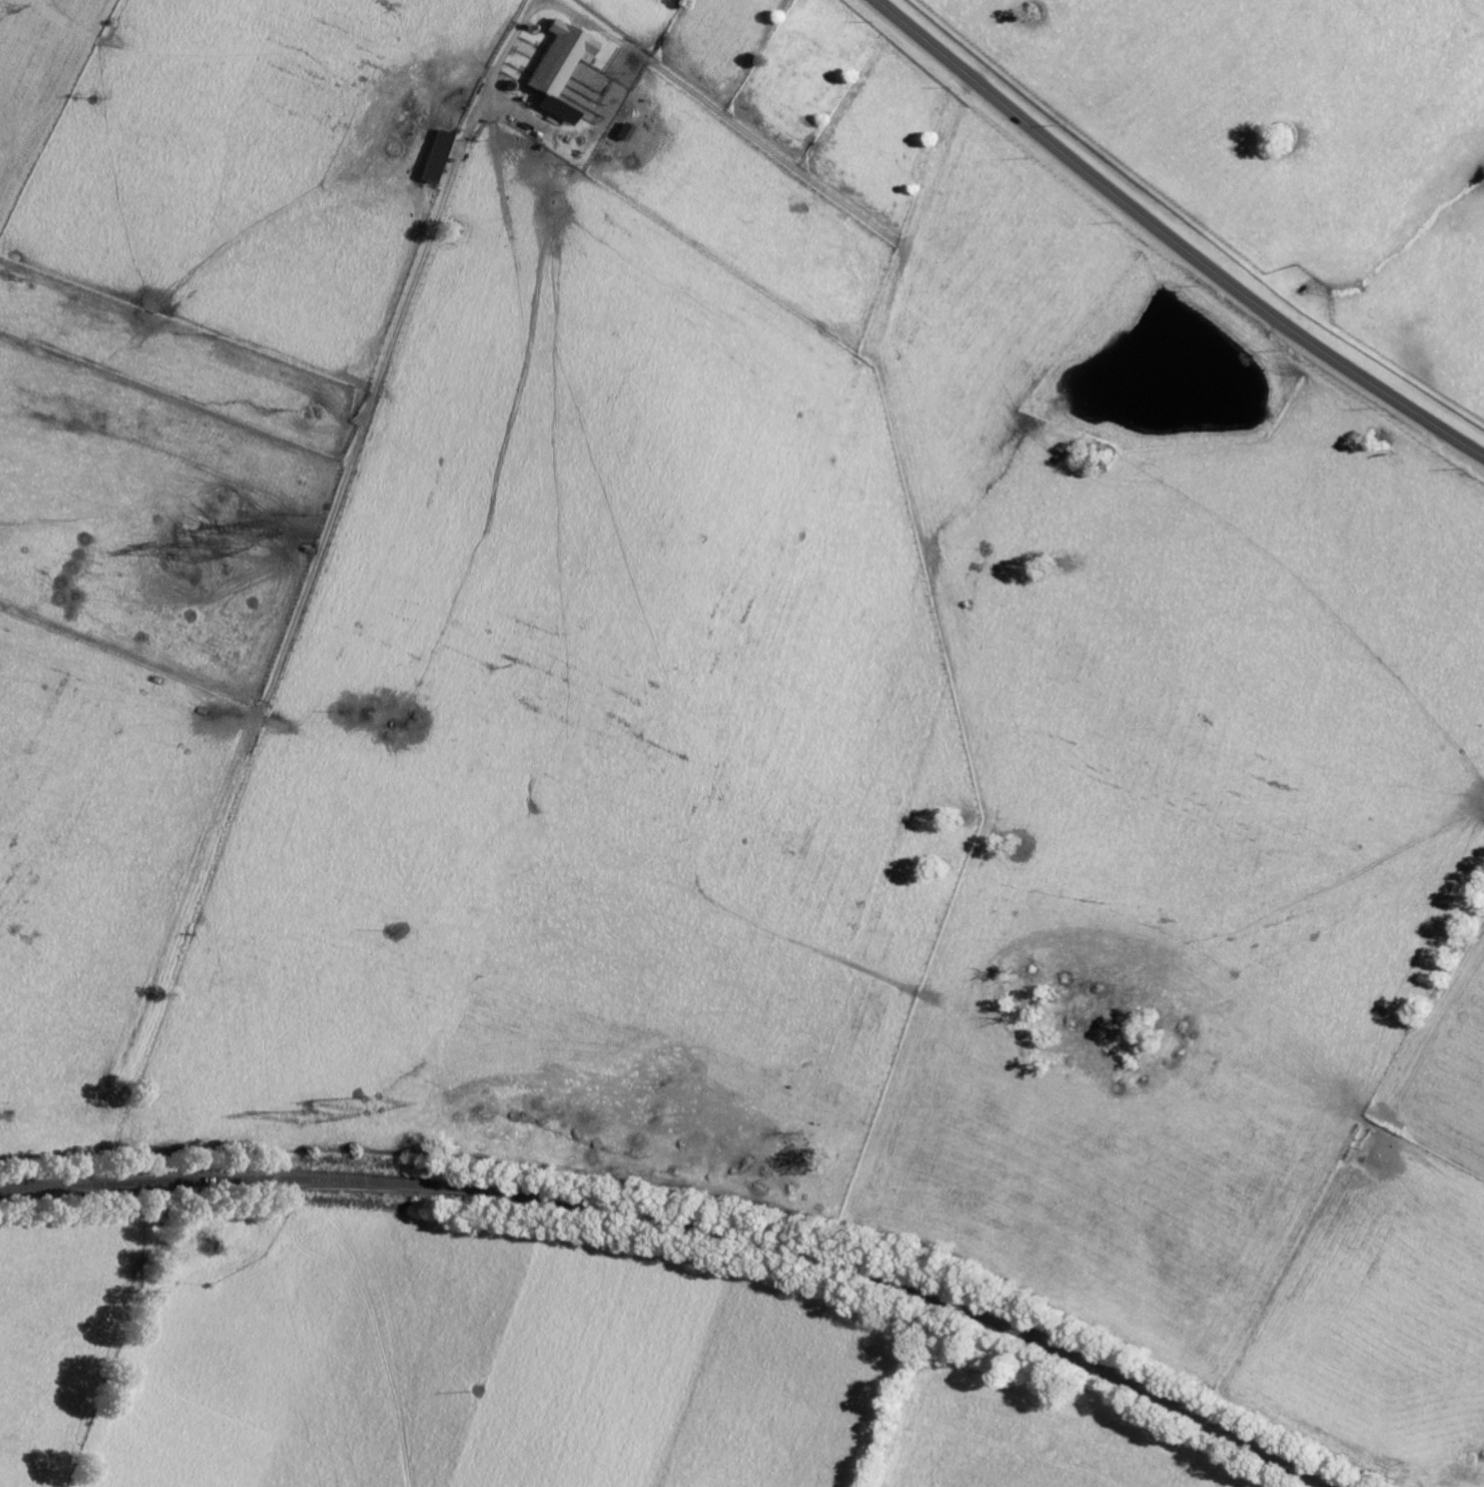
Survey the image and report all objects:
power tower: (0, 7)
building: (576, 77)
road: (493, 78)
building: (626, 131)
road: (1172, 239)
road: (1085, 291)
power tower: (266, 531)
power tower: (201, 550)
power tower: (378, 1103)
power tower: (319, 1118)
railway: (117, 1190)
railway: (695, 1220)

